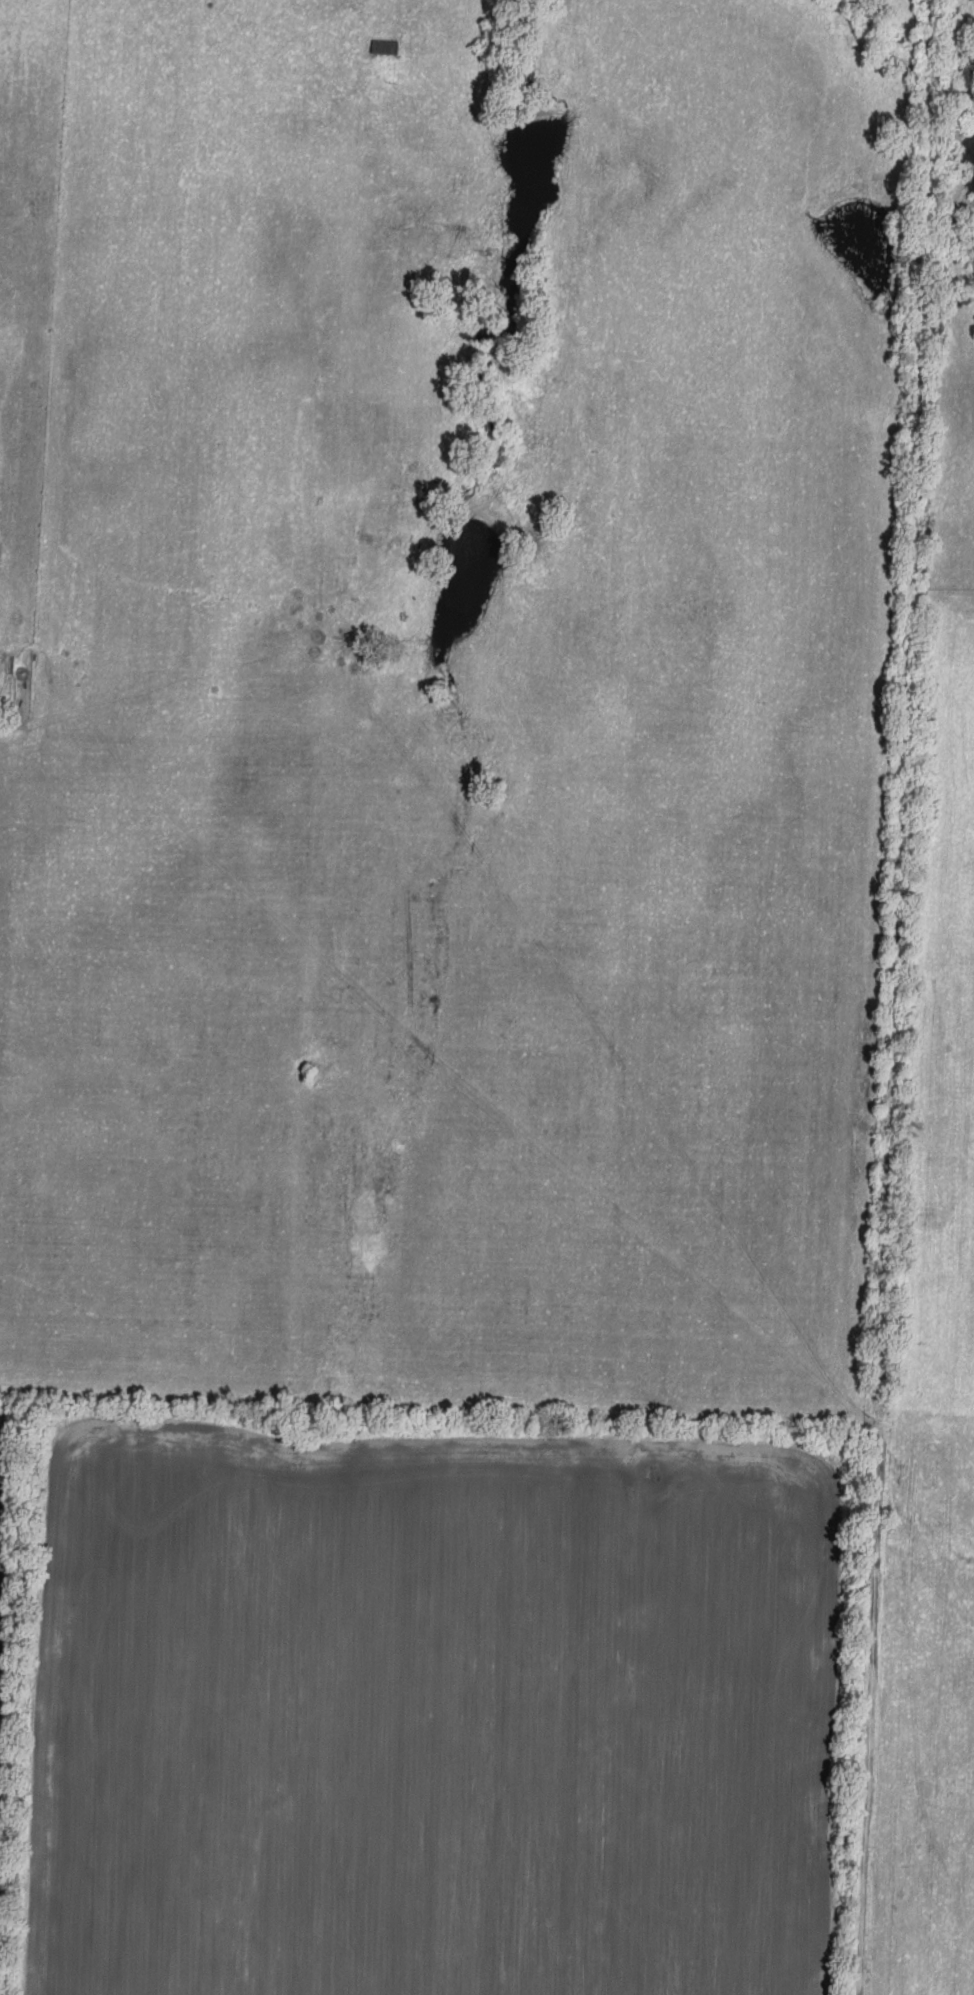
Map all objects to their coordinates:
road: (895, 997)

